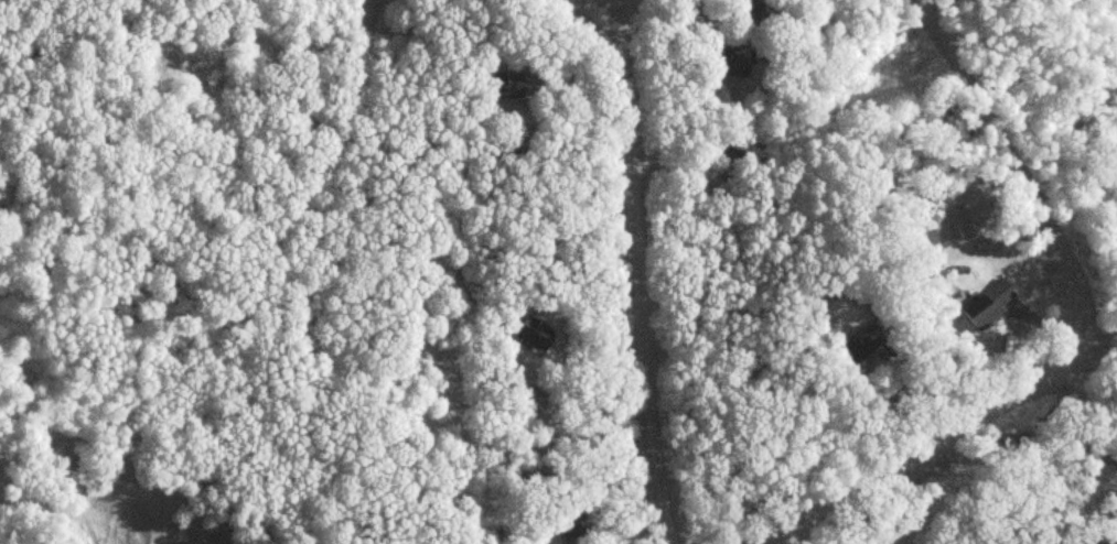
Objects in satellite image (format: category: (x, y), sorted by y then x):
building: (760, 13)
building: (734, 61)
building: (511, 84)
road: (1010, 152)
road: (637, 272)
building: (992, 303)
building: (538, 331)
building: (869, 340)
road: (1046, 437)
road: (931, 443)
park: (1043, 450)
building: (570, 510)
building: (577, 534)

